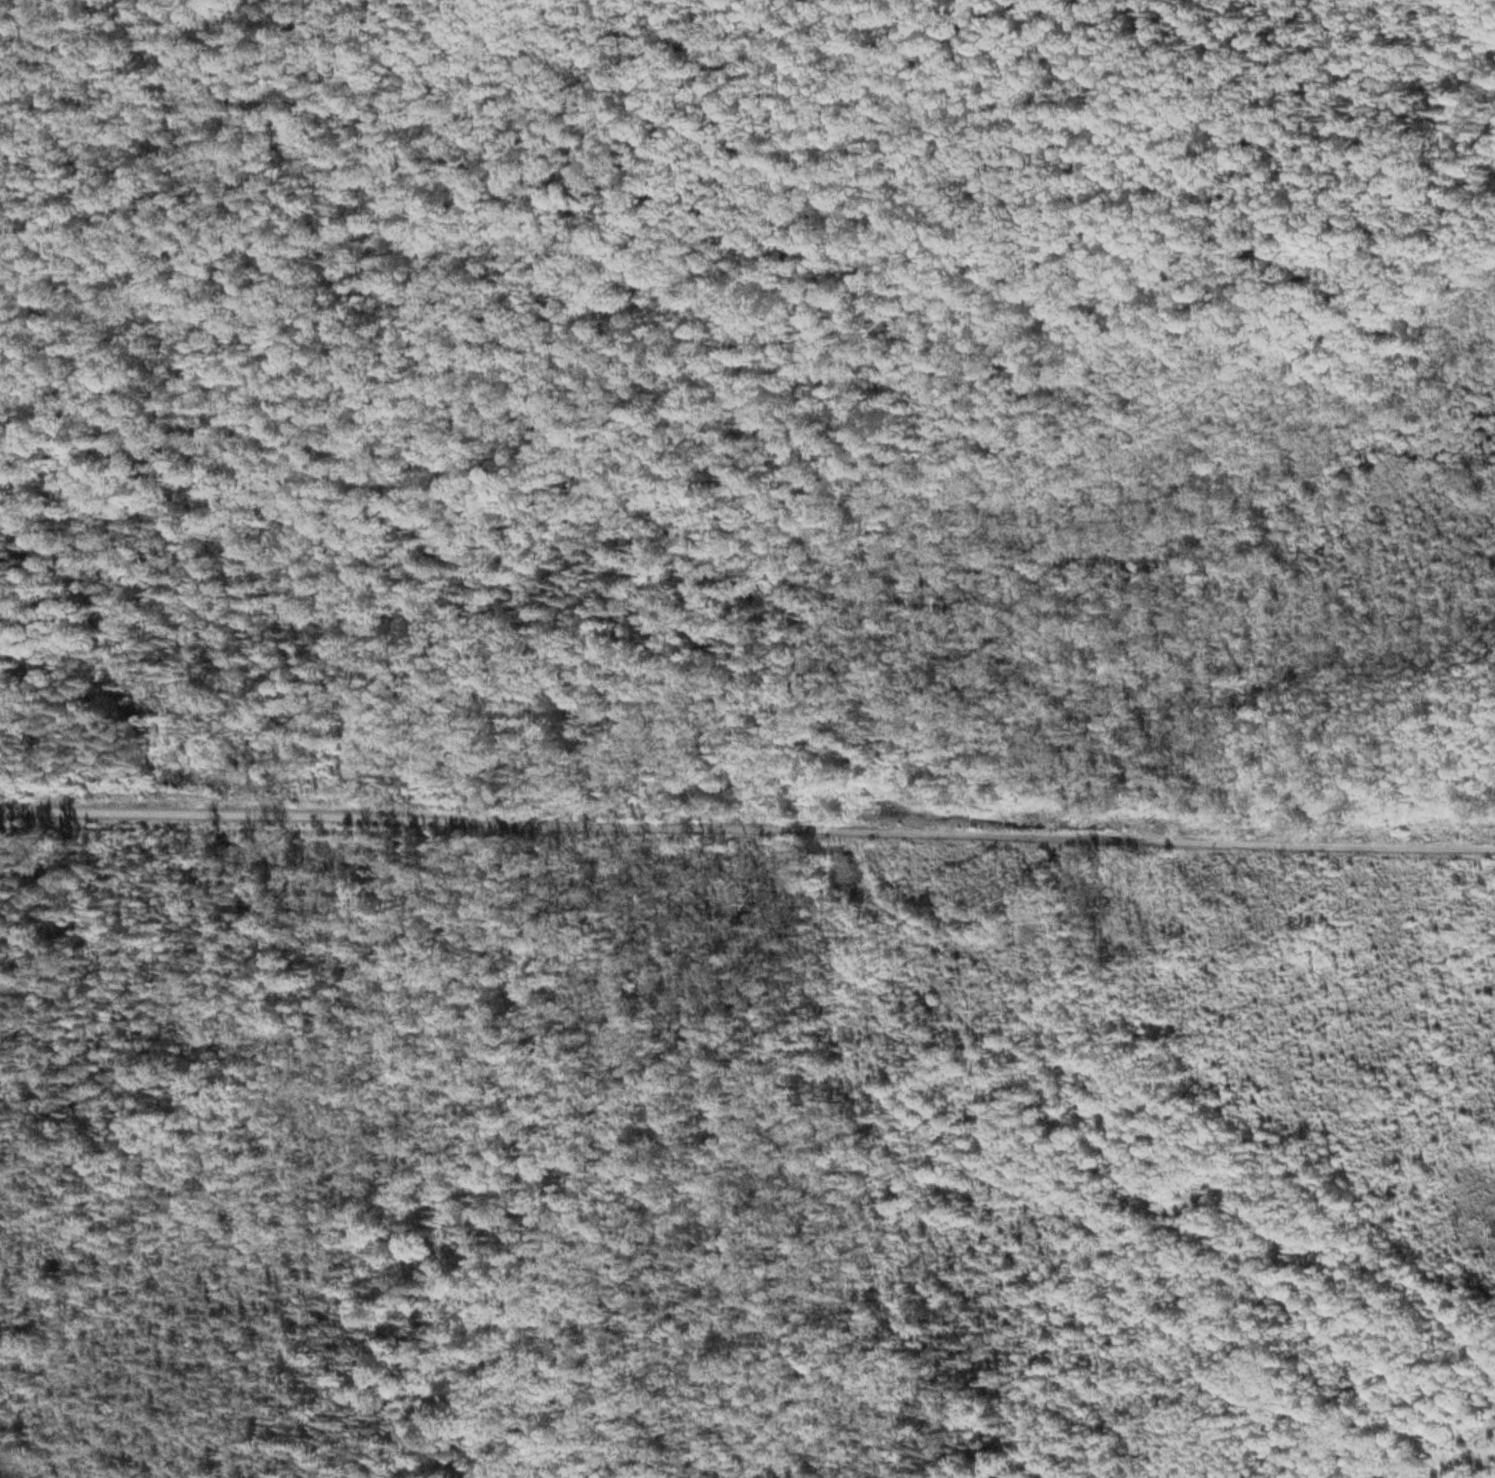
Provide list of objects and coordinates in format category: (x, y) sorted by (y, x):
road: (747, 825)

